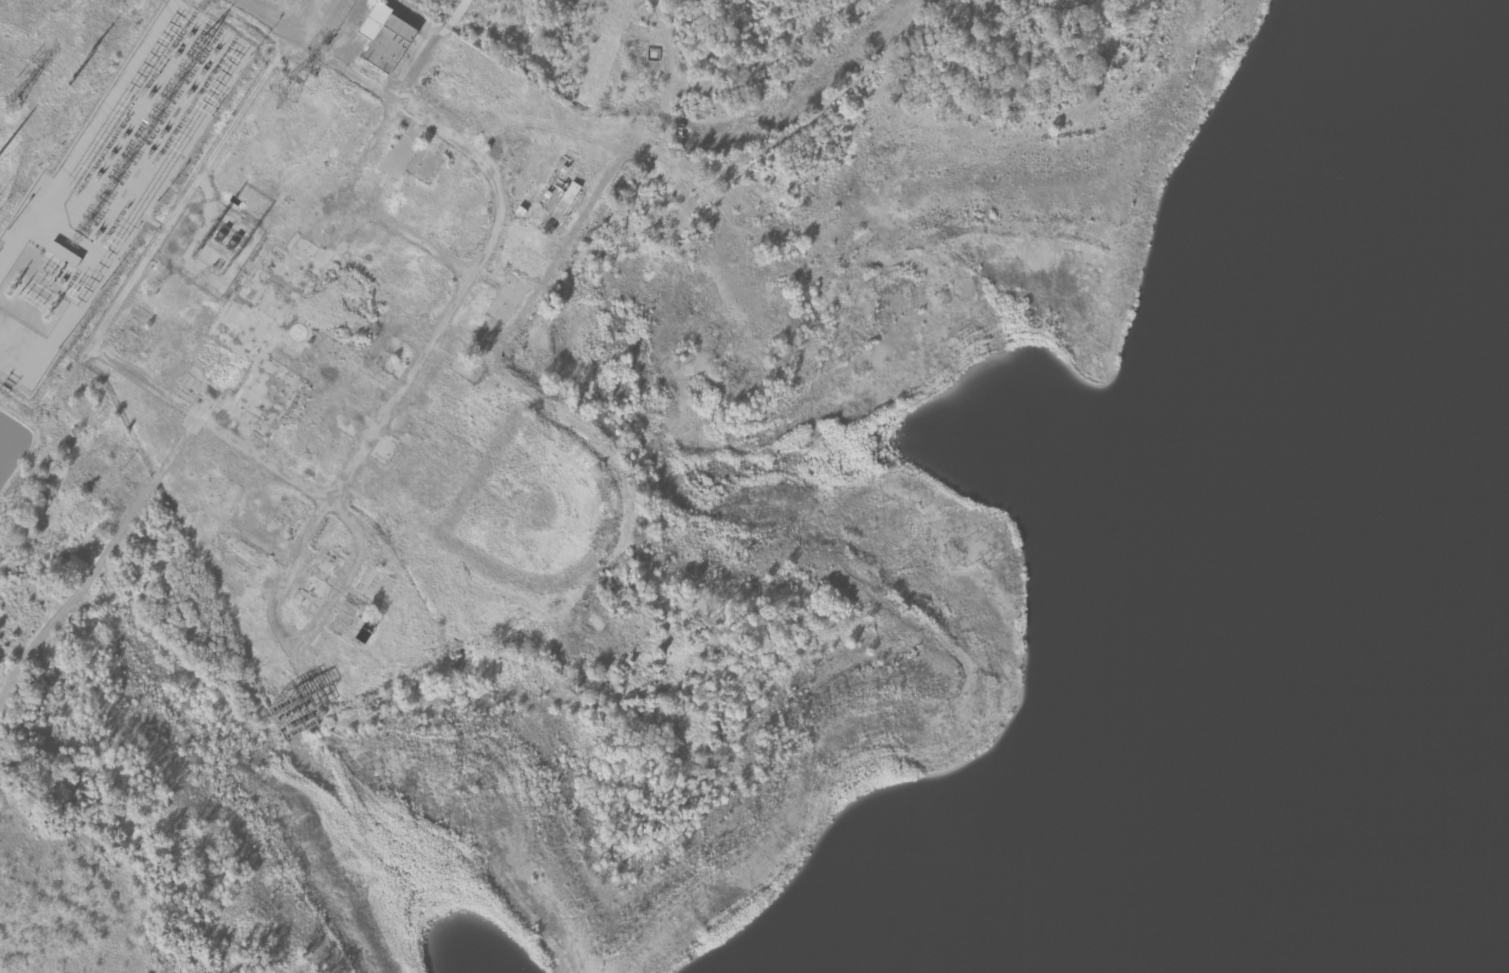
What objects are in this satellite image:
power tower: (88, 53)
power tower: (24, 76)
power tower: (77, 82)
power tower: (283, 93)
railway: (383, 98)
power tower: (17, 104)
power substation: (114, 188)
power tower: (188, 240)
power substation: (211, 242)
building: (66, 255)
road: (439, 277)
power tower: (155, 290)
road: (115, 306)
water tower: (293, 516)

